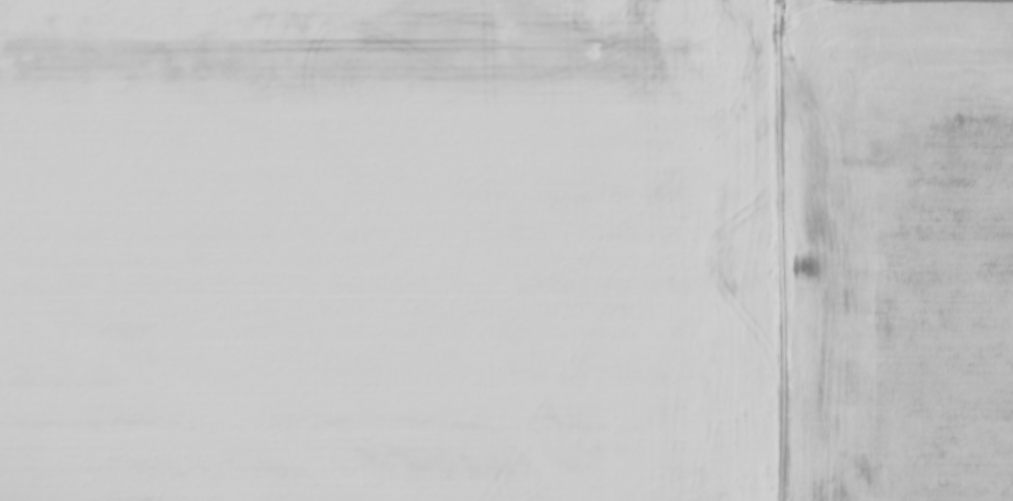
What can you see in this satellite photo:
road: (782, 250)

